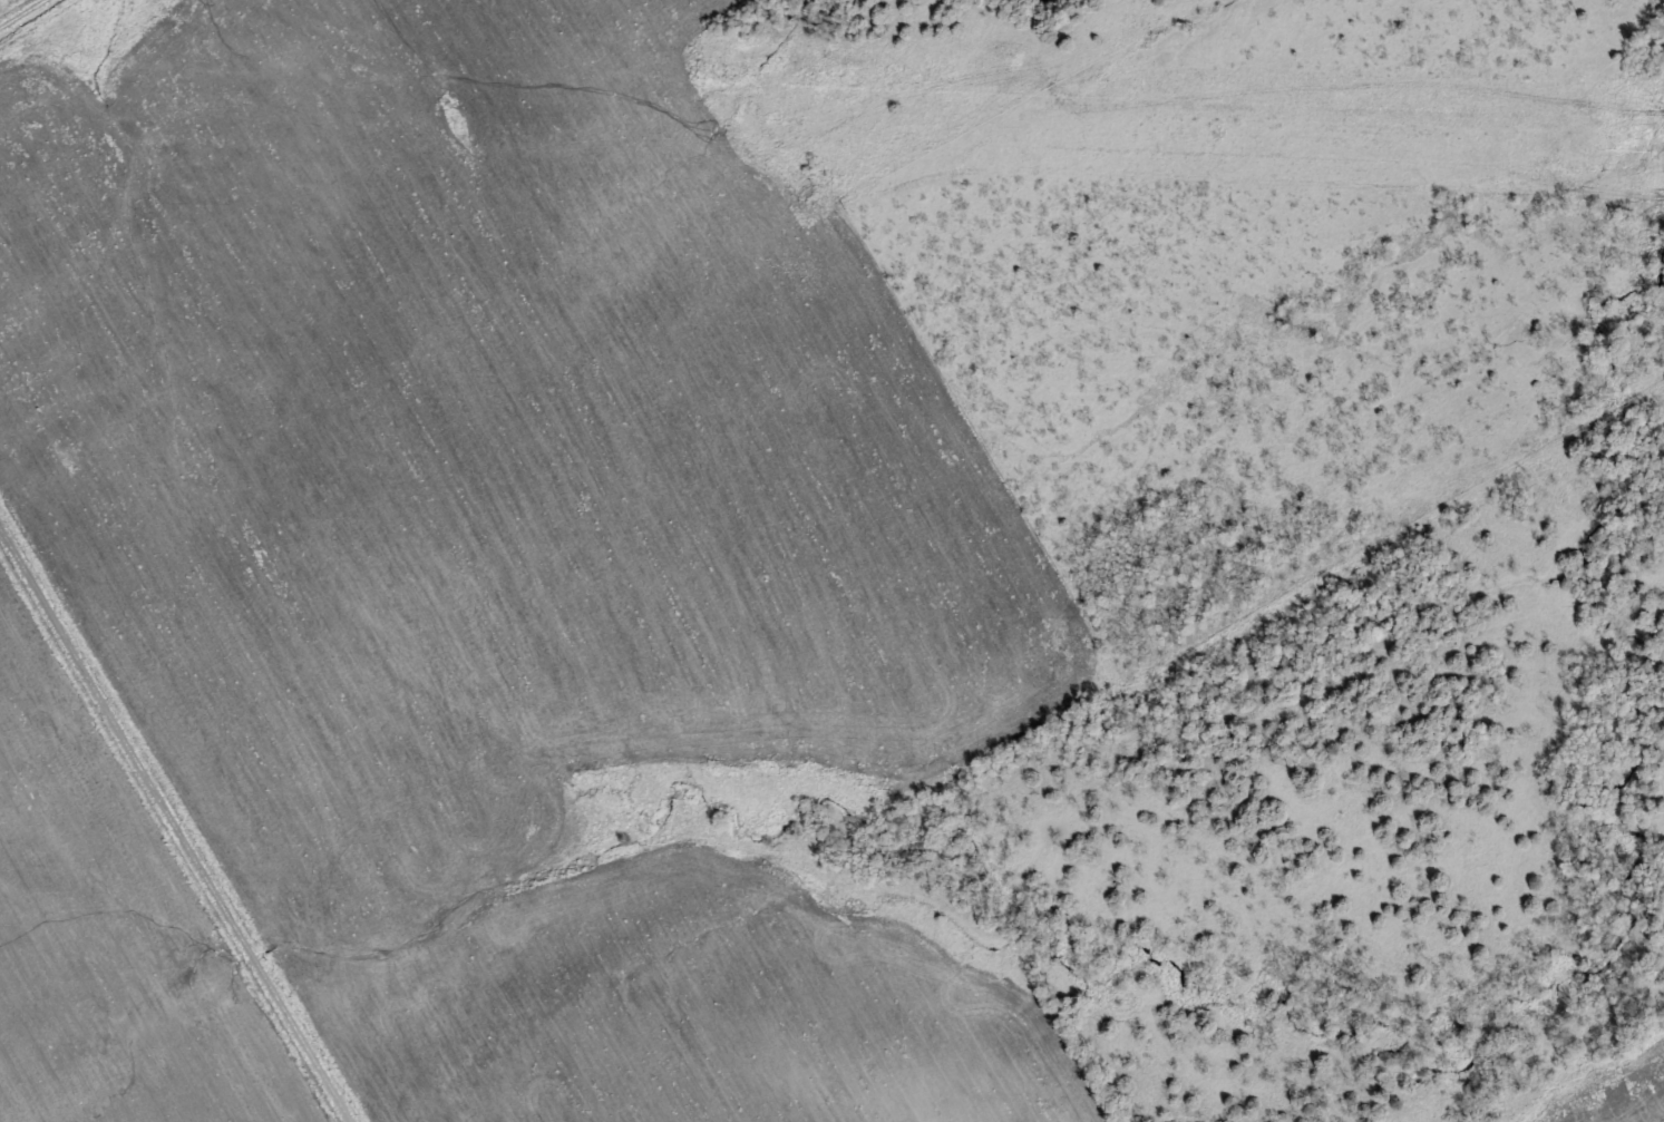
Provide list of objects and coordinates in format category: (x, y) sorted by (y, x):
road: (25, 14)
road: (175, 829)

